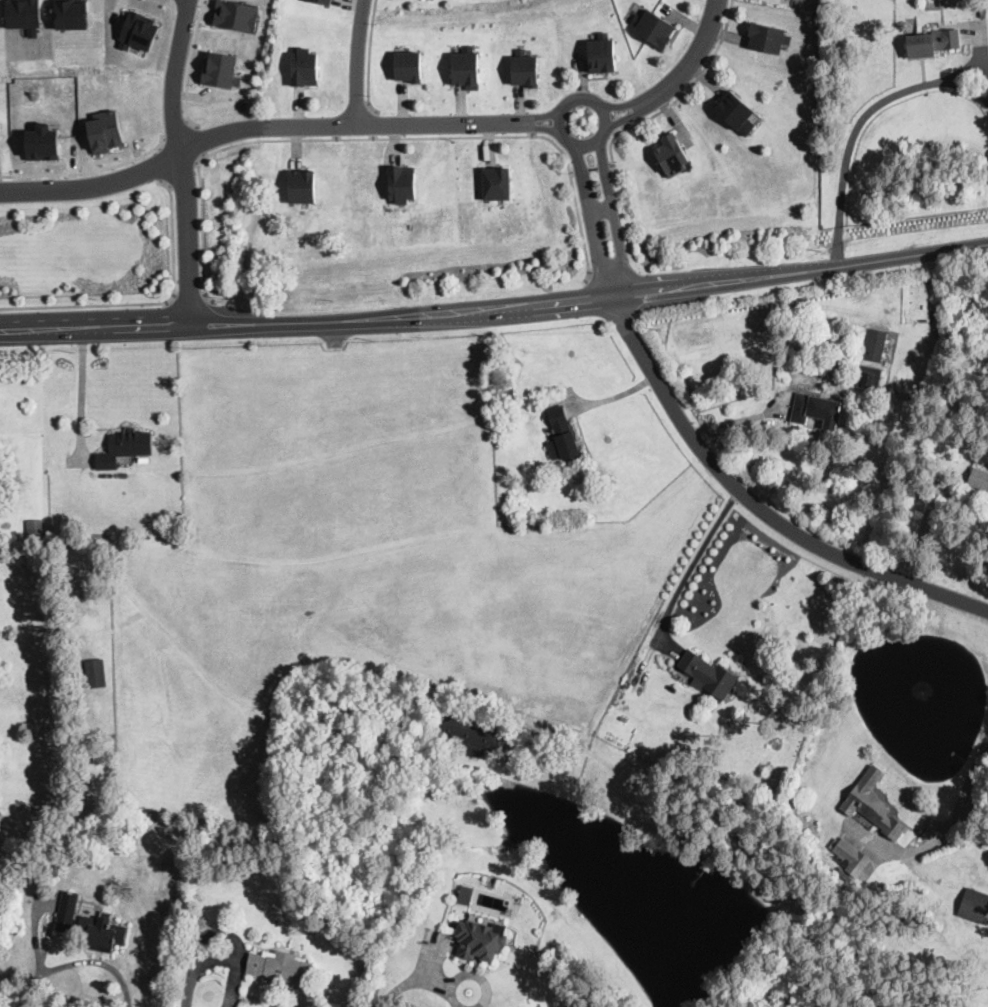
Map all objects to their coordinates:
building: (323, 1)
building: (72, 14)
building: (236, 14)
building: (24, 15)
building: (654, 29)
building: (138, 31)
building: (768, 39)
building: (933, 42)
building: (603, 55)
road: (695, 56)
road: (370, 59)
road: (356, 63)
building: (408, 65)
road: (188, 66)
building: (304, 67)
building: (525, 68)
building: (466, 69)
building: (221, 70)
road: (681, 96)
road: (584, 99)
road: (624, 105)
building: (734, 111)
road: (542, 115)
road: (629, 116)
road: (374, 124)
road: (859, 124)
road: (542, 126)
road: (350, 127)
road: (177, 130)
building: (106, 131)
road: (375, 137)
road: (198, 139)
building: (43, 141)
building: (672, 156)
road: (183, 161)
road: (592, 169)
road: (88, 170)
road: (183, 173)
building: (402, 182)
building: (497, 183)
road: (93, 185)
building: (302, 185)
road: (603, 209)
road: (616, 218)
road: (594, 220)
road: (800, 274)
road: (190, 295)
road: (150, 303)
building: (956, 314)
road: (348, 322)
road: (41, 328)
building: (817, 337)
building: (875, 345)
building: (870, 376)
road: (82, 384)
building: (508, 395)
road: (615, 396)
building: (816, 410)
road: (738, 418)
building: (561, 435)
building: (124, 448)
building: (978, 479)
road: (758, 504)
building: (35, 528)
road: (922, 534)
road: (693, 564)
building: (0, 627)
building: (96, 673)
building: (708, 674)
building: (468, 735)
building: (872, 809)
road: (955, 813)
building: (850, 857)
building: (75, 869)
building: (73, 883)
building: (466, 894)
building: (974, 906)
building: (66, 913)
building: (987, 921)
building: (104, 932)
road: (220, 935)
building: (481, 940)
road: (77, 961)
building: (281, 969)
road: (421, 978)

